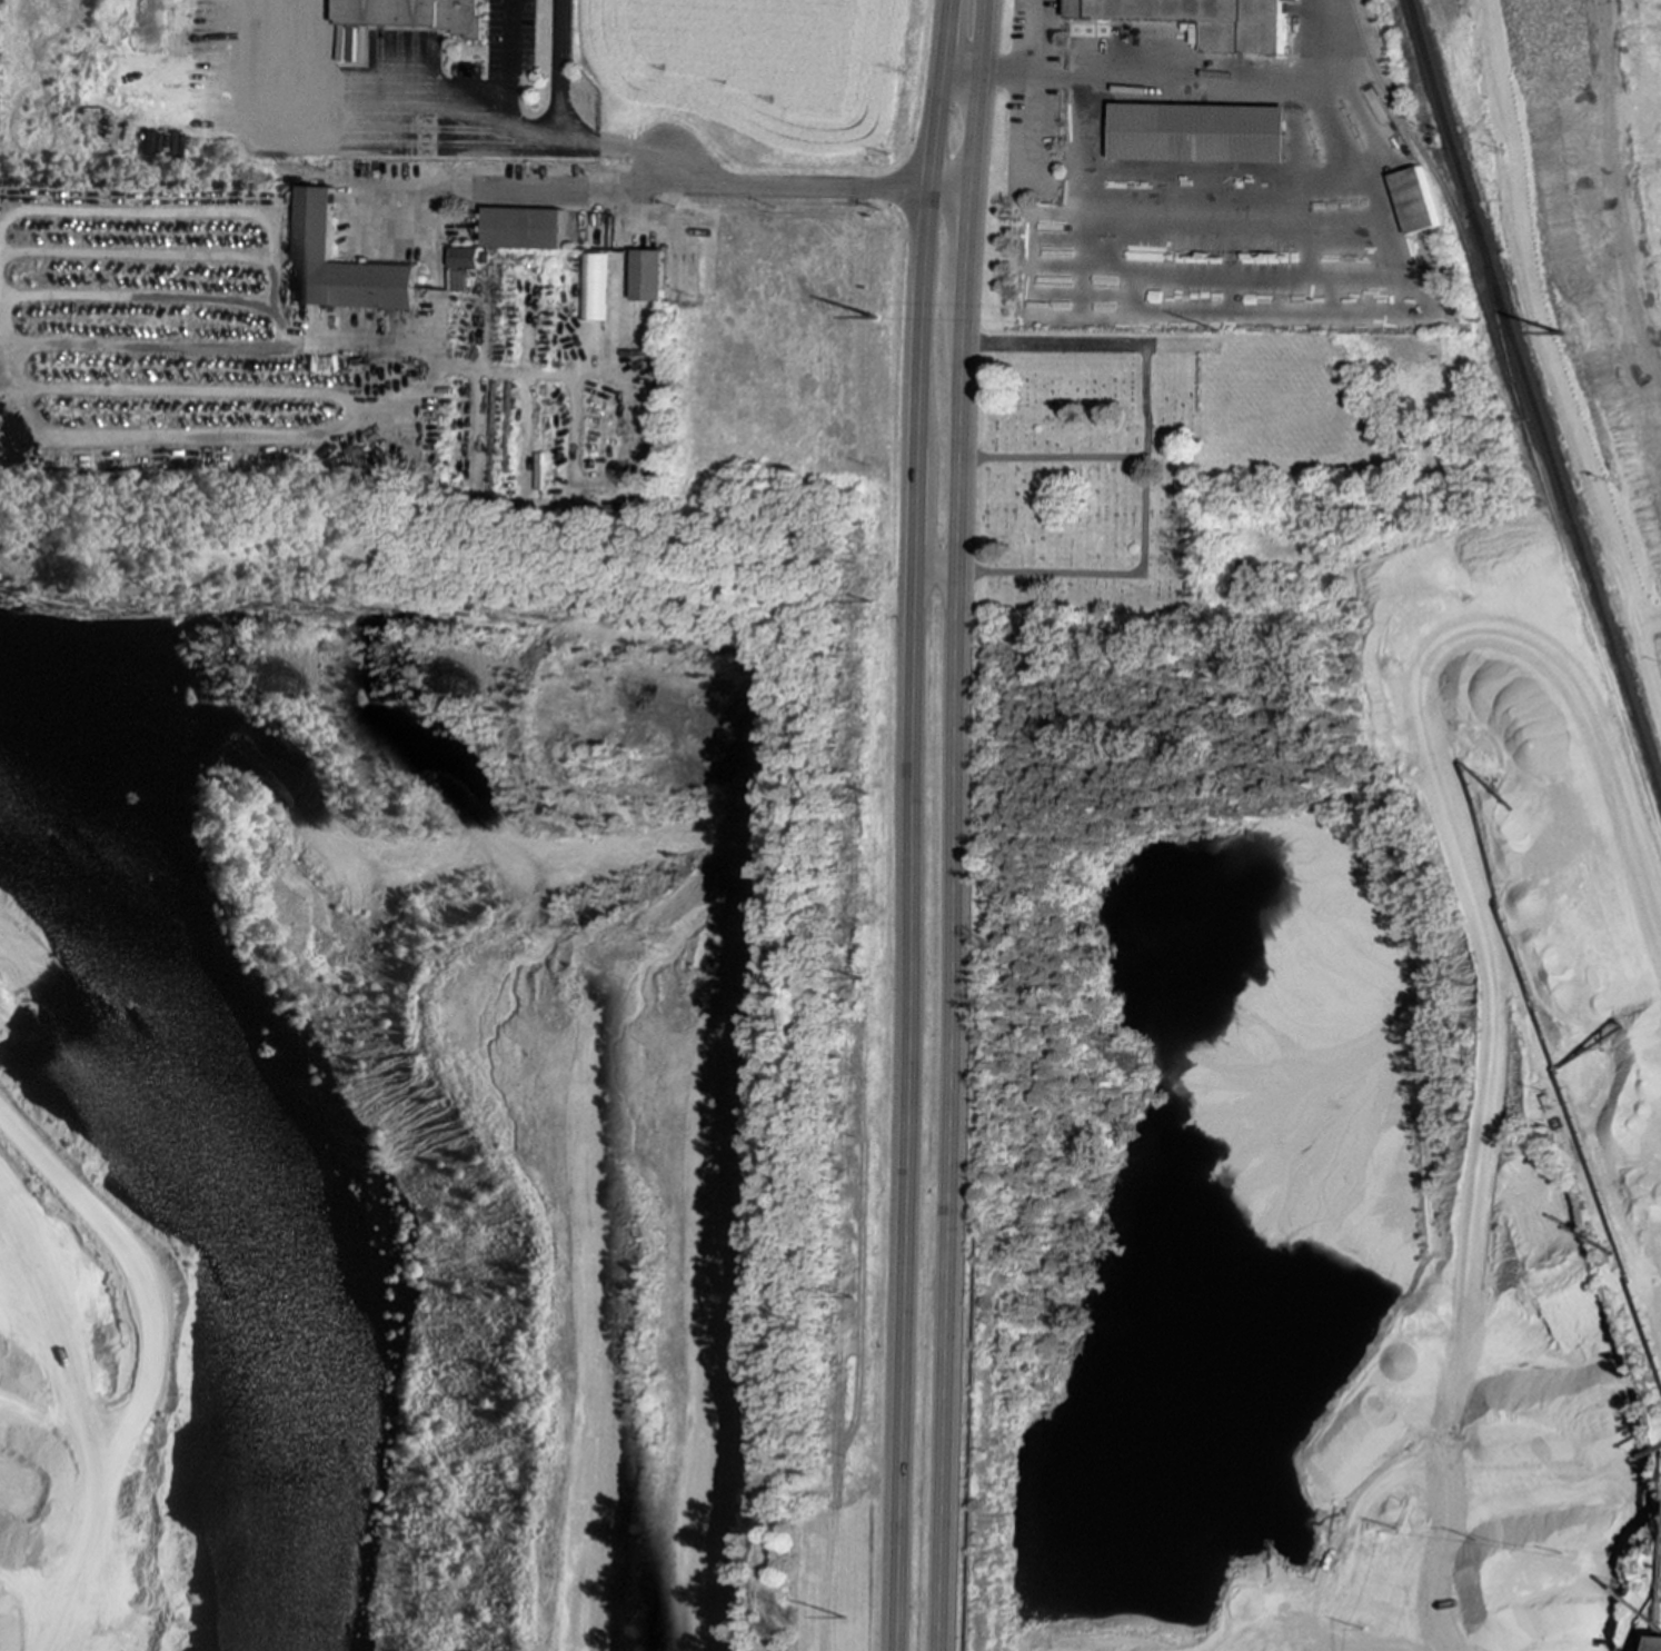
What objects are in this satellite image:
building: (416, 14)
building: (1205, 20)
road: (1035, 57)
crop: (769, 63)
road: (558, 67)
road: (964, 67)
road: (510, 93)
building: (1200, 132)
road: (613, 150)
road: (813, 189)
road: (481, 195)
building: (1415, 200)
railway: (1450, 202)
road: (276, 213)
building: (526, 228)
building: (465, 257)
building: (344, 265)
building: (649, 276)
building: (460, 280)
building: (594, 287)
power tower: (877, 320)
power tower: (1222, 335)
power tower: (1561, 336)
road: (618, 365)
railway: (1534, 398)
road: (248, 439)
road: (1051, 458)
building: (355, 460)
road: (1145, 460)
park: (1205, 473)
road: (593, 483)
railway: (1559, 536)
road: (934, 571)
power tower: (884, 606)
road: (911, 824)
road: (952, 825)
power tower: (883, 987)
quarry: (1354, 1033)
quarry: (448, 1080)
power tower: (879, 1307)
power tower: (873, 1614)
building: (1654, 1643)

